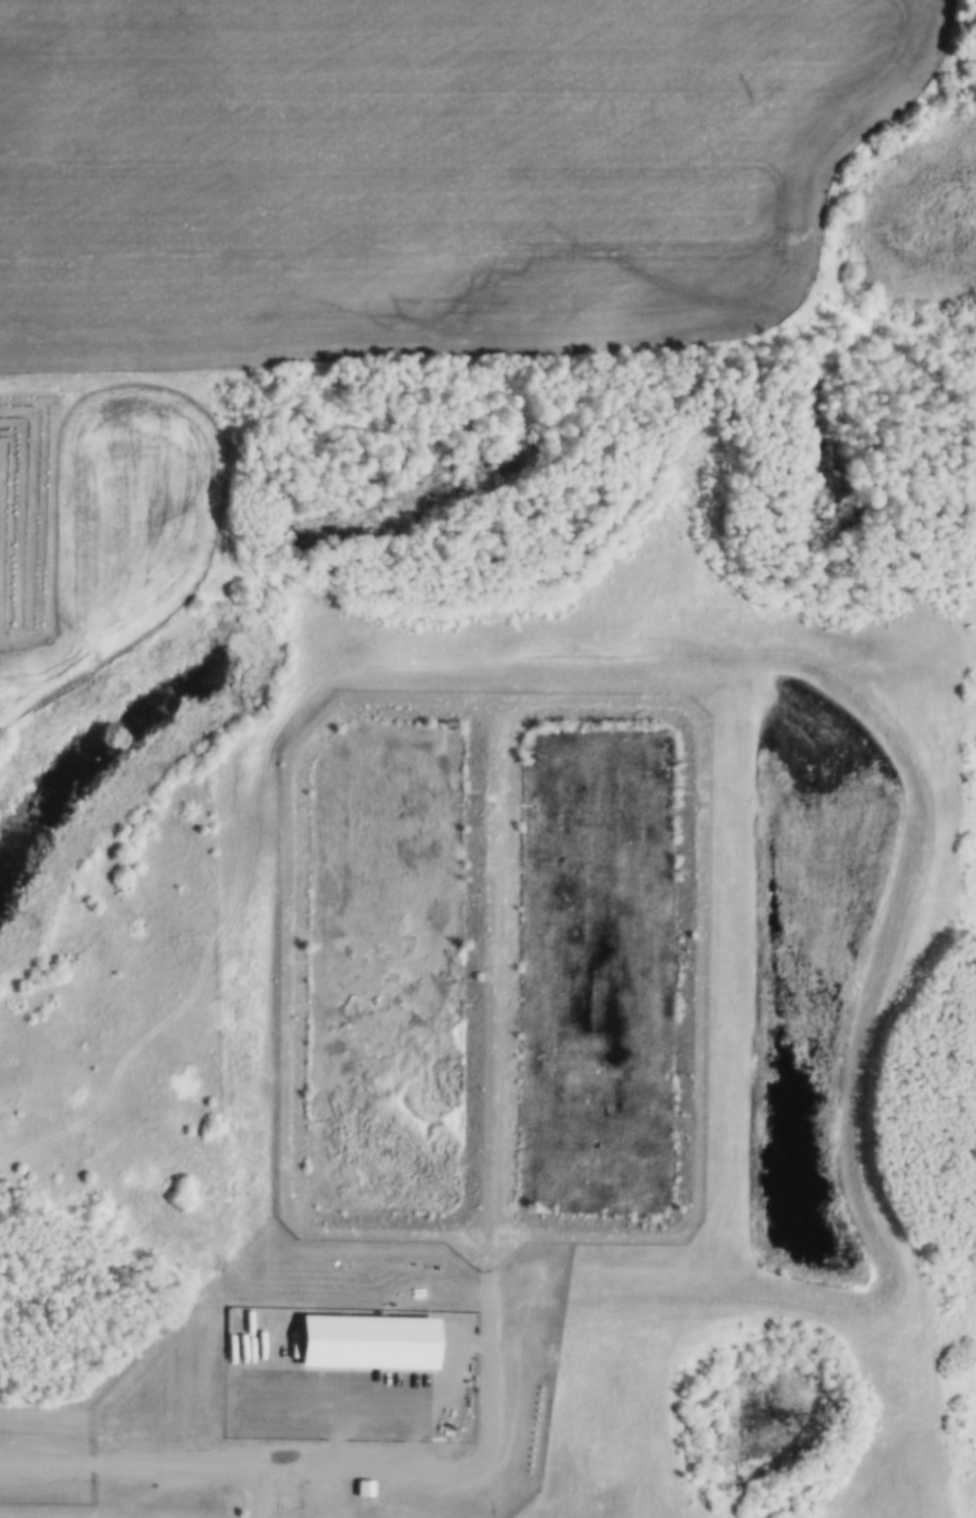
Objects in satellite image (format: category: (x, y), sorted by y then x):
building: (366, 1338)
road: (489, 1401)
road: (207, 1461)
building: (363, 1485)
road: (261, 1490)

